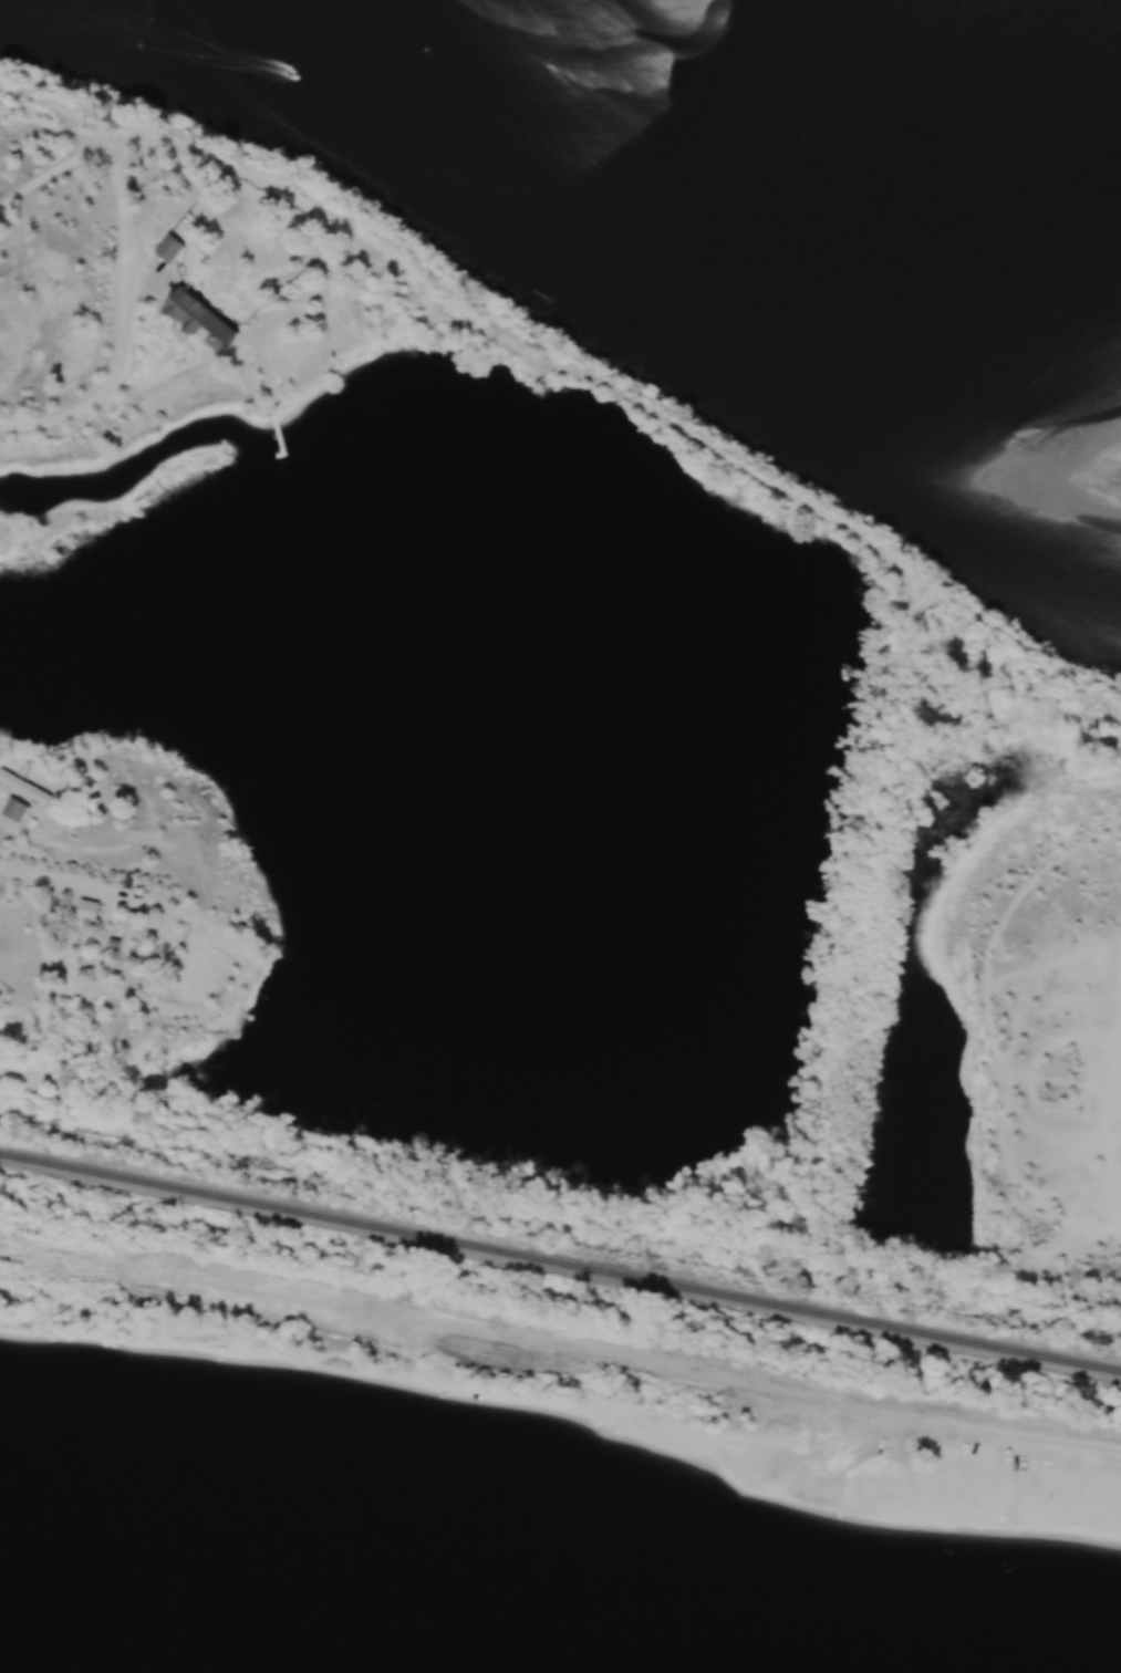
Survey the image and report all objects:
river: (1081, 24)
road: (122, 139)
road: (311, 295)
building: (208, 319)
road: (113, 377)
road: (889, 557)
building: (28, 787)
building: (19, 810)
road: (63, 877)
building: (92, 911)
building: (133, 933)
railway: (560, 1264)

